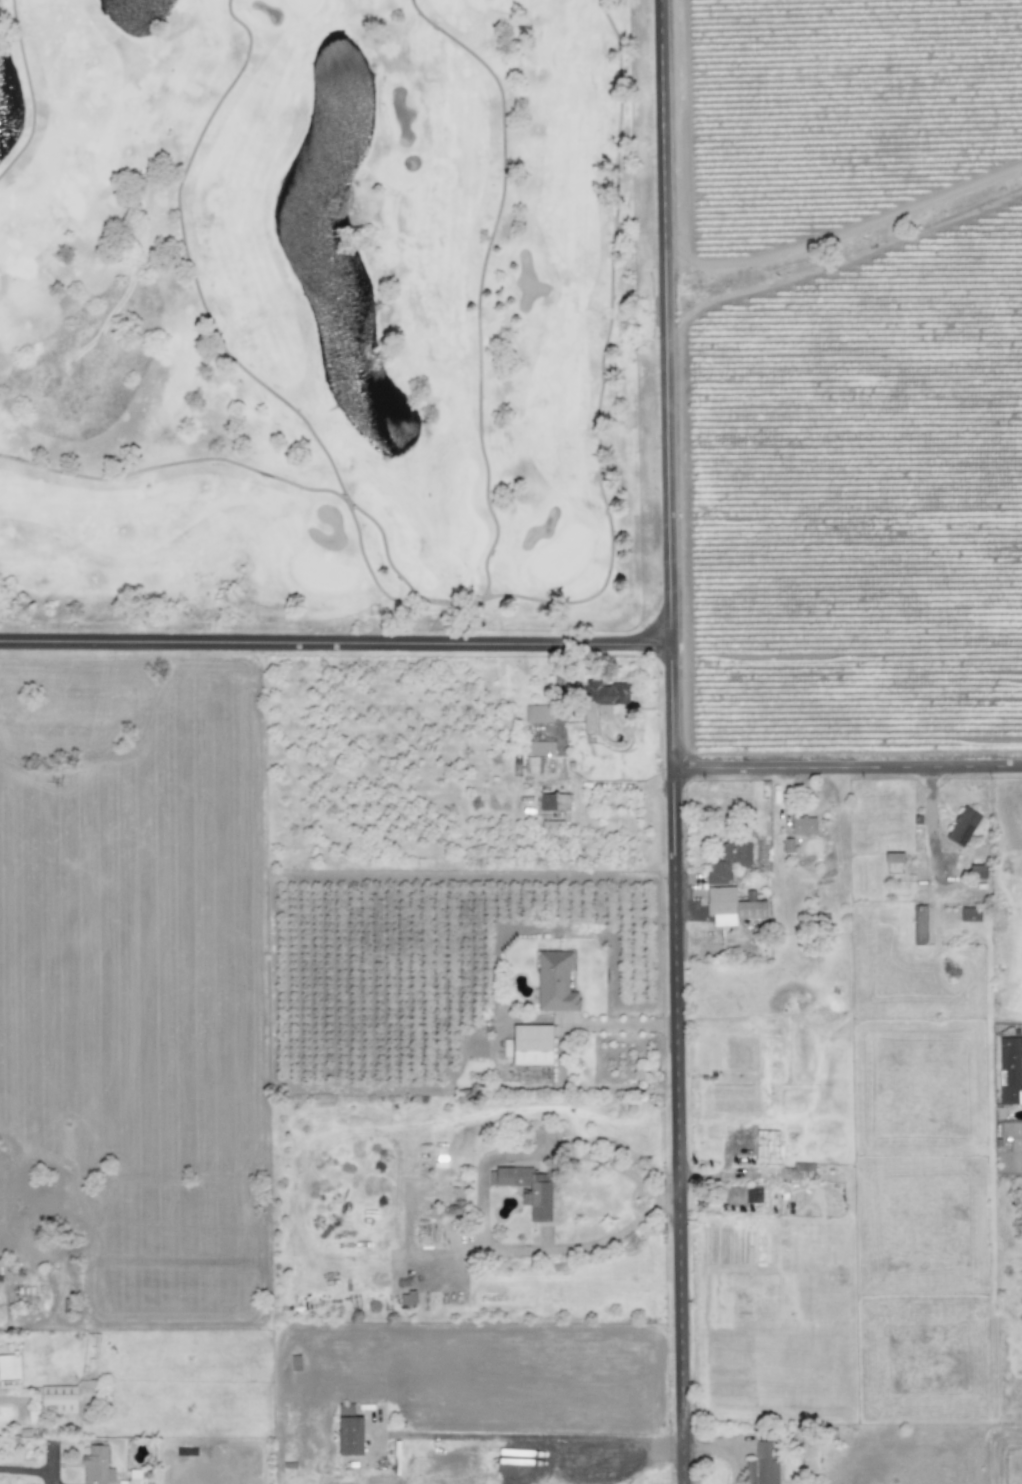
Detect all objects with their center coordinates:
road: (480, 281)
park: (335, 332)
road: (601, 381)
road: (350, 509)
road: (337, 643)
building: (600, 699)
building: (537, 713)
road: (675, 741)
building: (539, 748)
building: (531, 764)
road: (849, 768)
building: (554, 802)
road: (930, 823)
building: (803, 826)
building: (727, 862)
building: (730, 906)
building: (970, 914)
building: (554, 982)
road: (620, 1024)
building: (531, 1045)
building: (1010, 1070)
building: (1012, 1135)
road: (619, 1171)
building: (529, 1189)
building: (741, 1196)
road: (608, 1237)
crop: (857, 1240)
building: (9, 1367)
building: (59, 1398)
building: (349, 1431)
road: (535, 1436)
building: (762, 1464)
building: (96, 1466)
road: (29, 1469)

